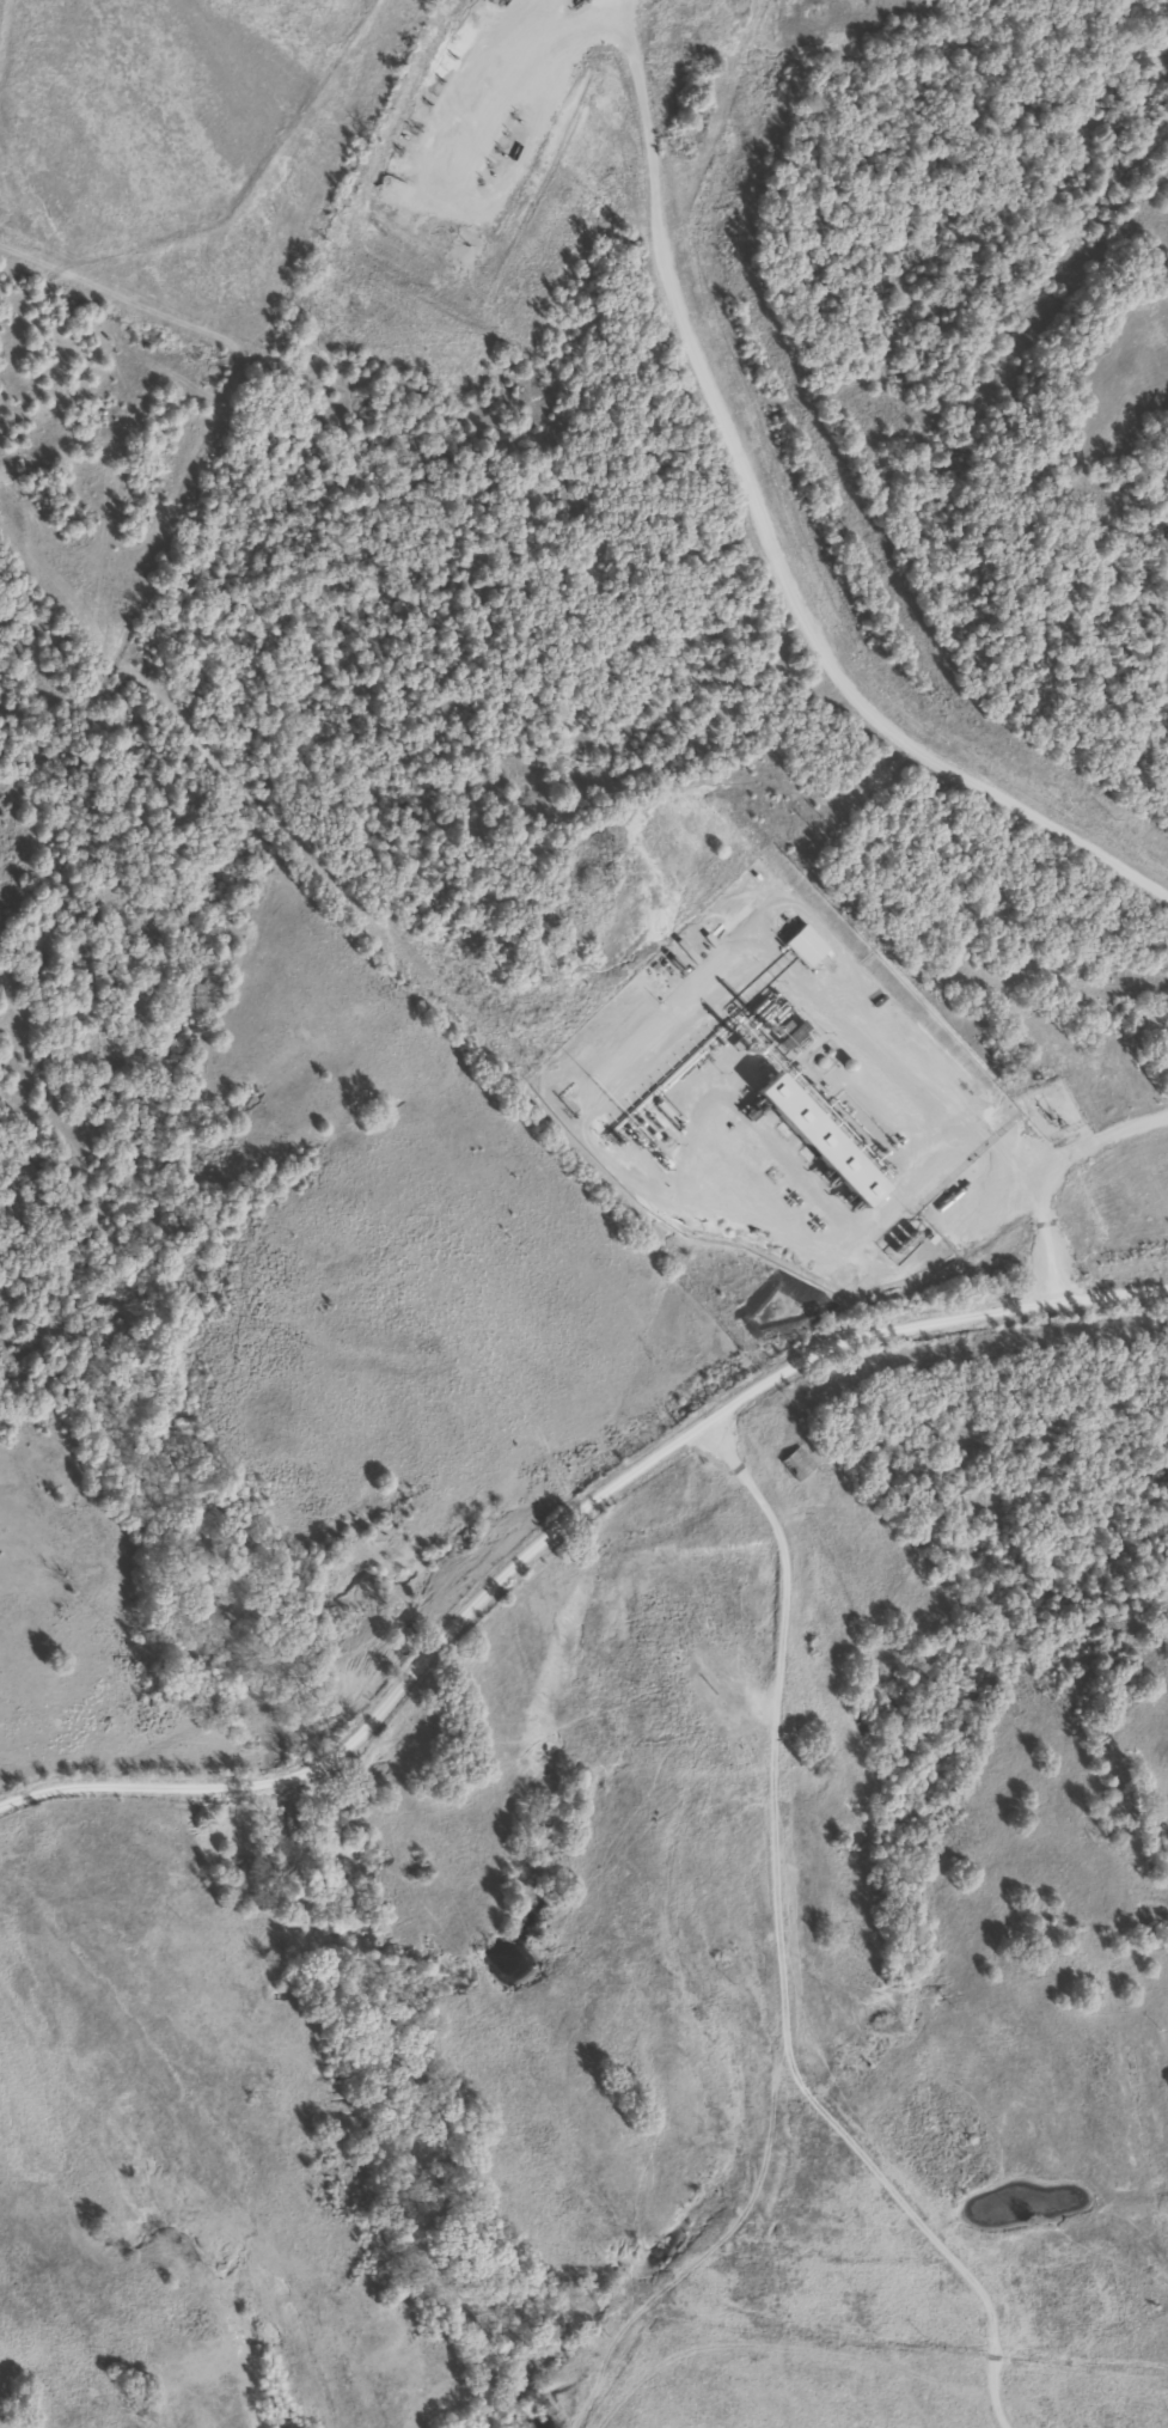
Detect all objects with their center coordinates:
road: (760, 541)
building: (805, 946)
road: (1041, 1164)
building: (796, 1464)
road: (563, 1535)
road: (778, 1956)

